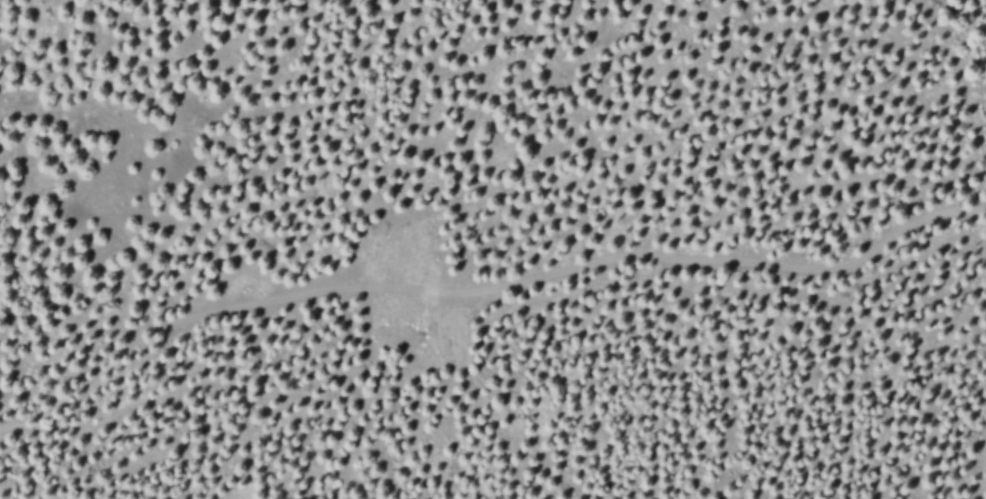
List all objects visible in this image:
road: (754, 257)

